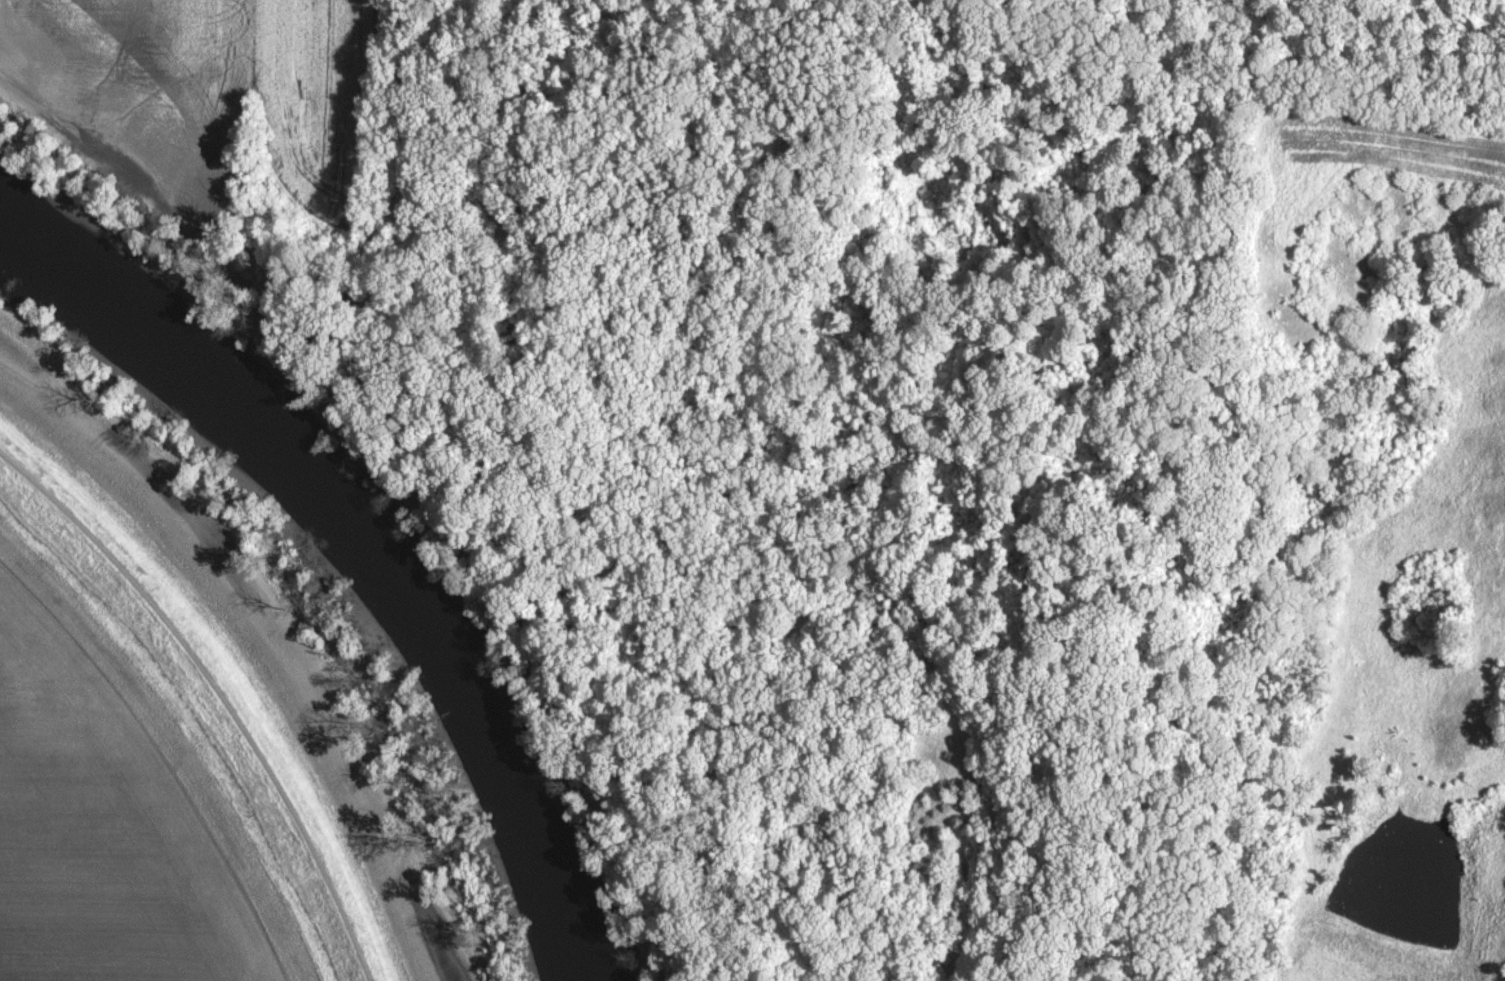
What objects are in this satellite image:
river: (358, 554)
road: (220, 688)

